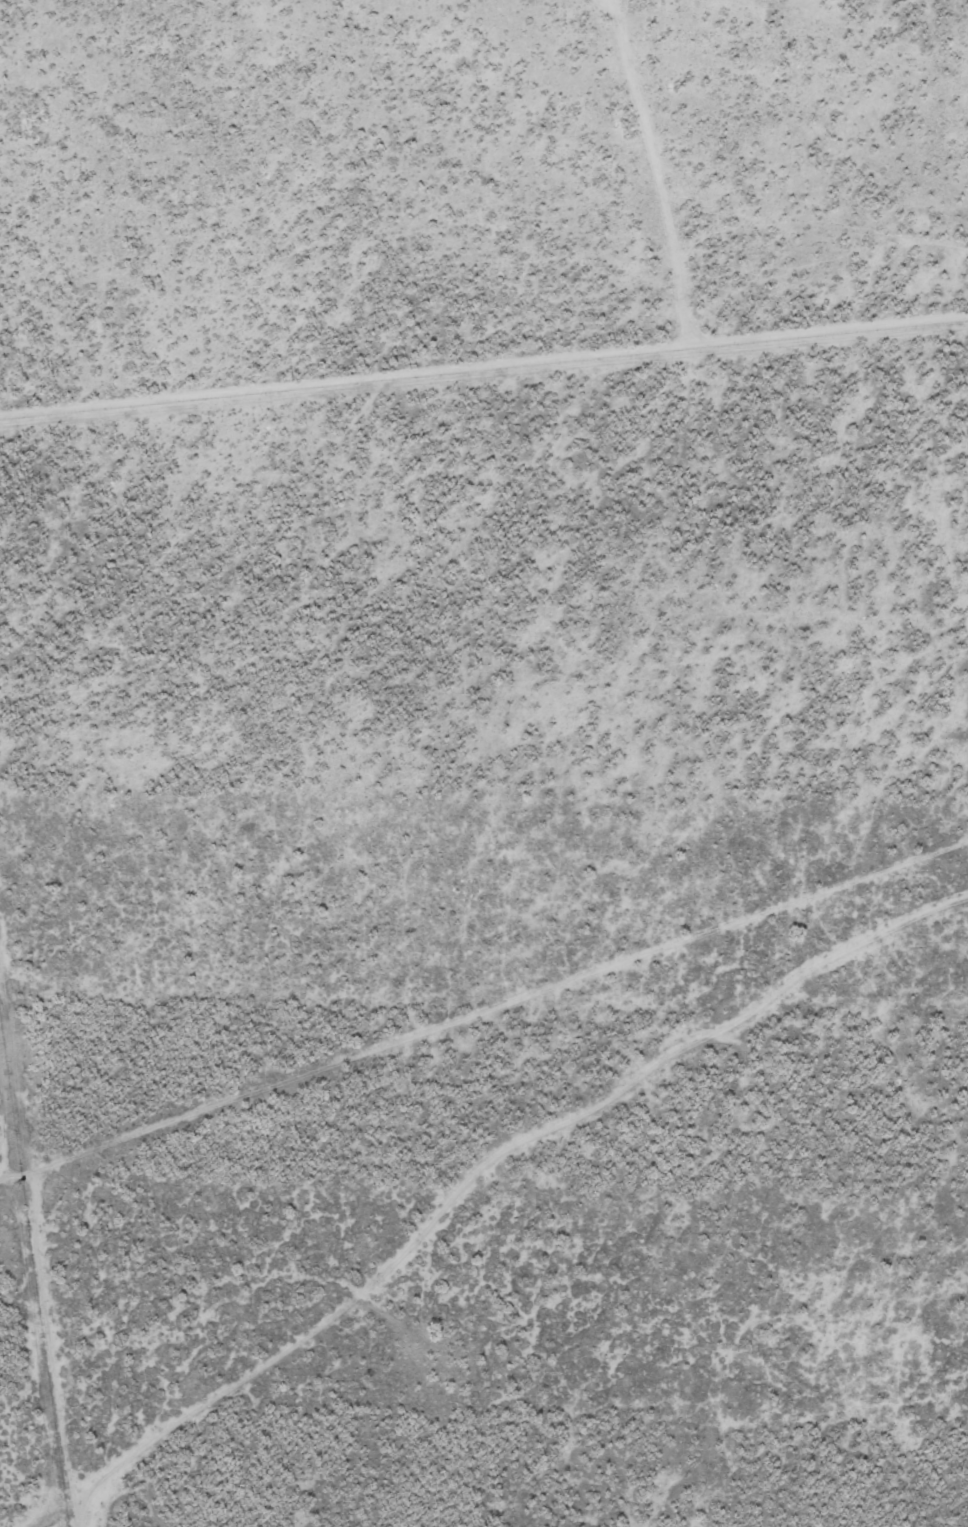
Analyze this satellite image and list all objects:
road: (653, 172)
road: (777, 336)
road: (500, 1179)

